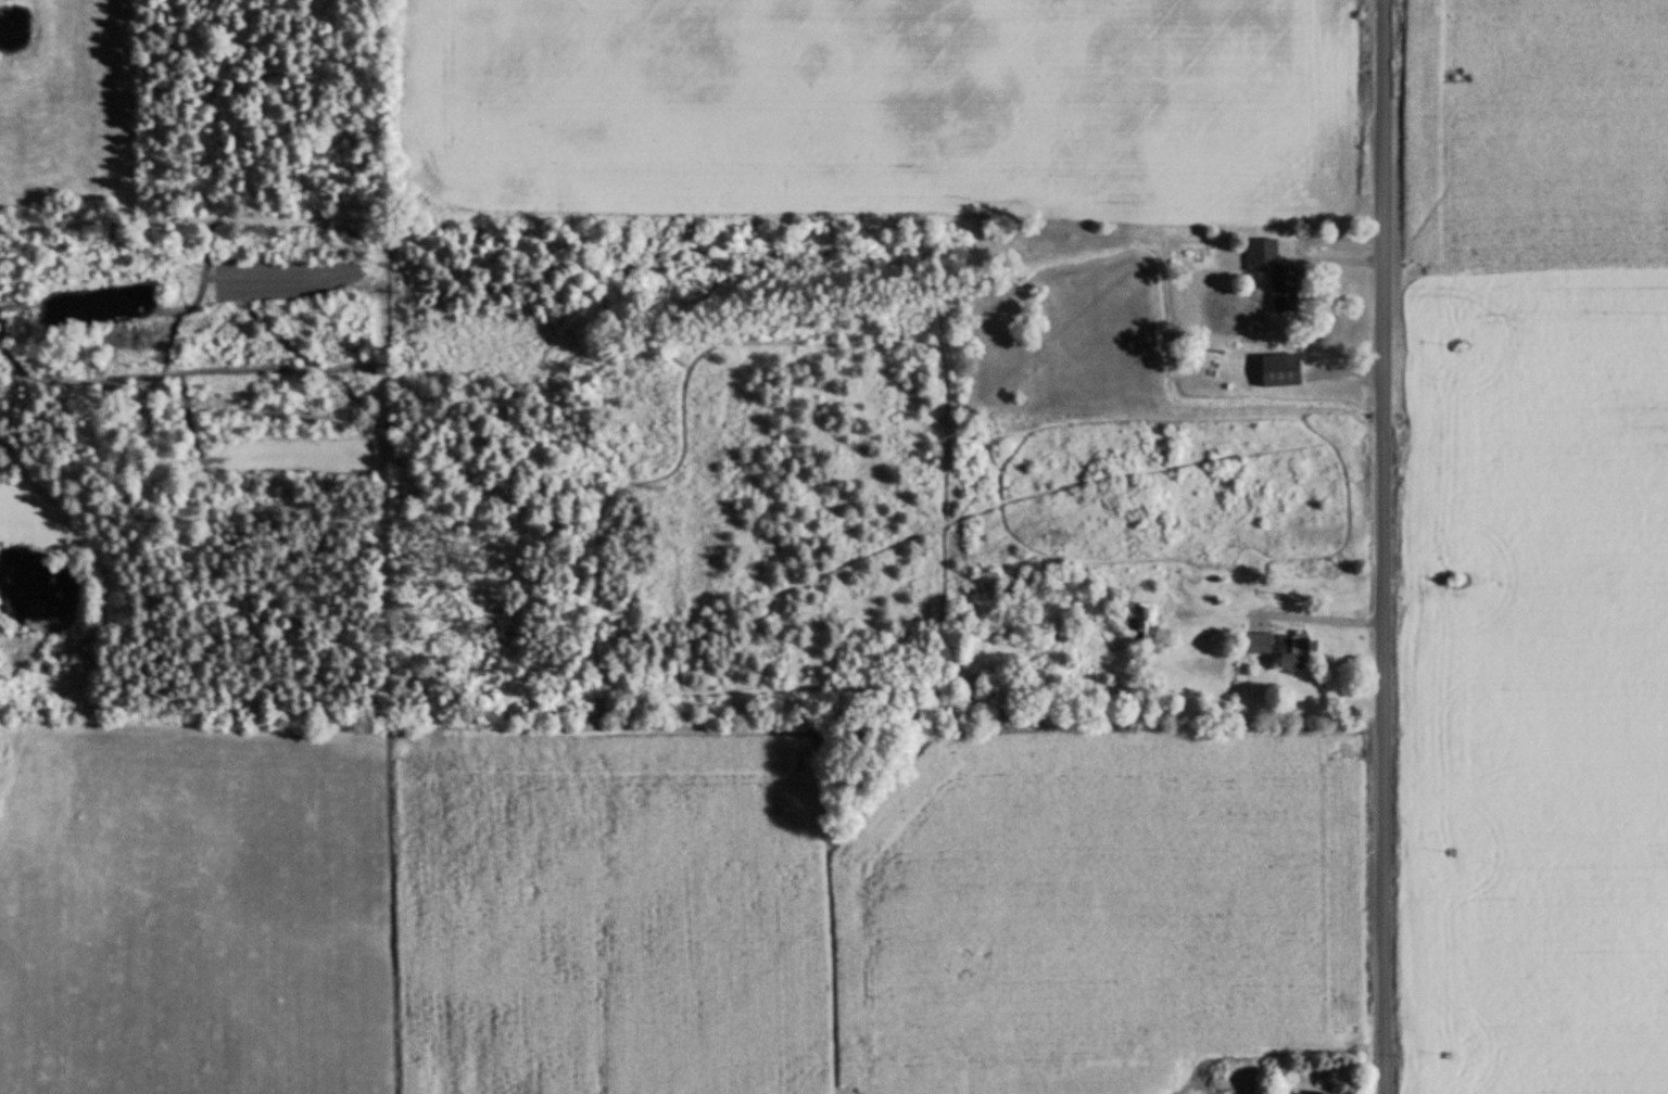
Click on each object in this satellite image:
building: (1277, 277)
building: (1281, 371)
building: (1248, 542)
road: (1383, 547)
building: (1281, 649)

